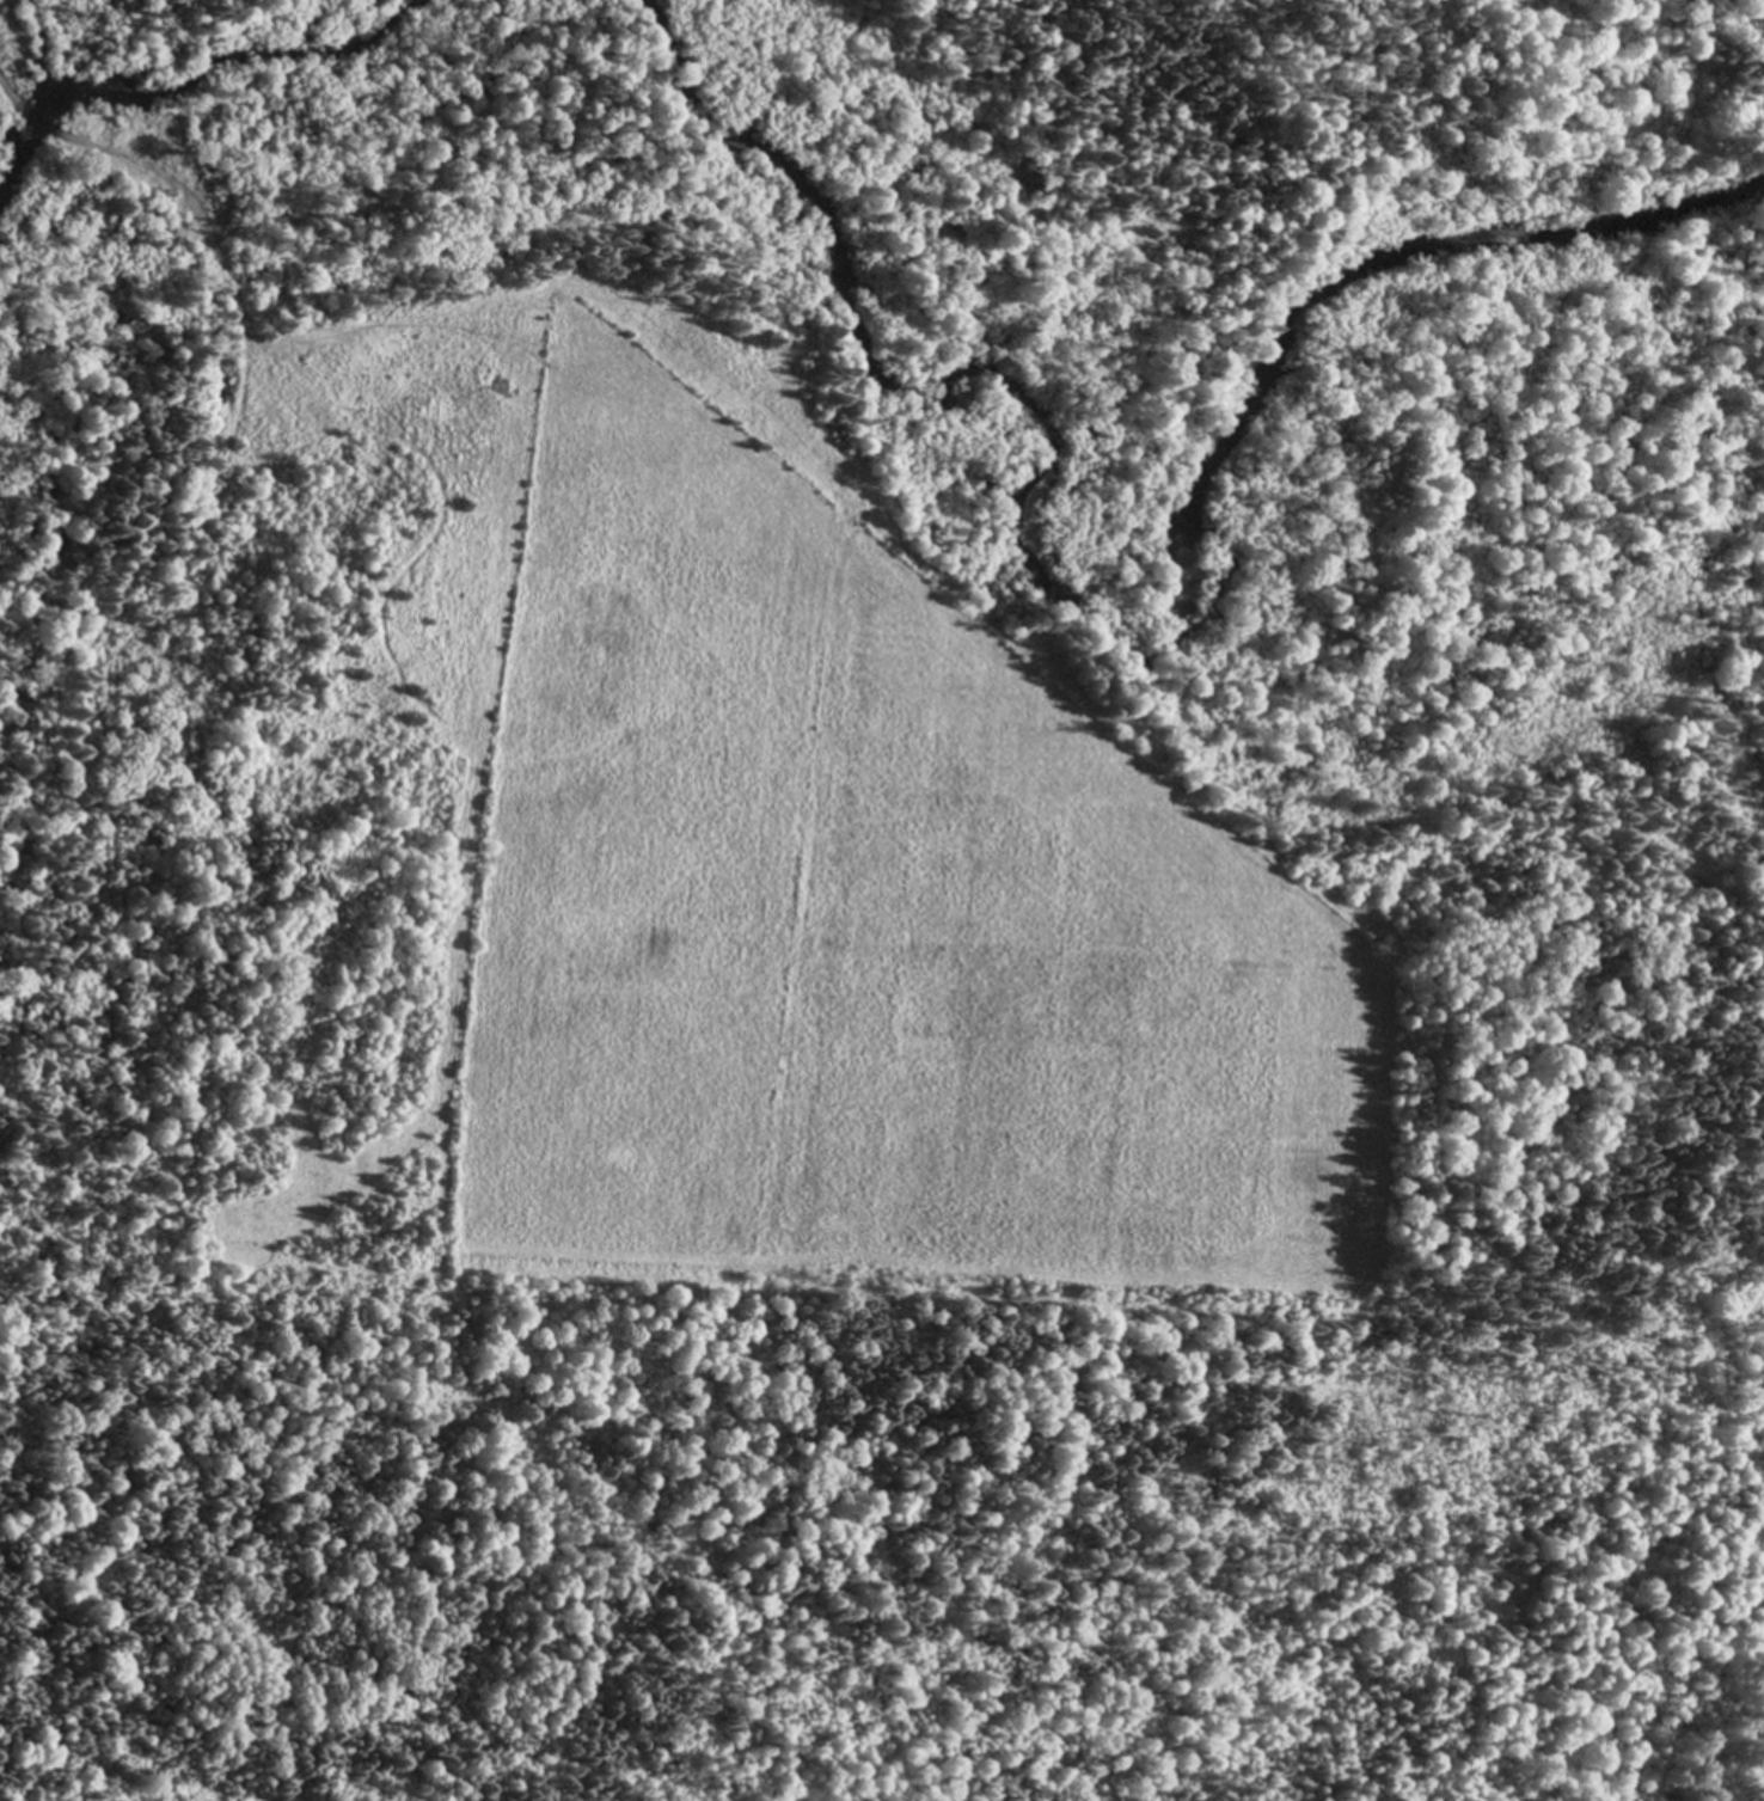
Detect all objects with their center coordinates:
river: (341, 31)
river: (165, 90)
river: (29, 164)
river: (1111, 655)

